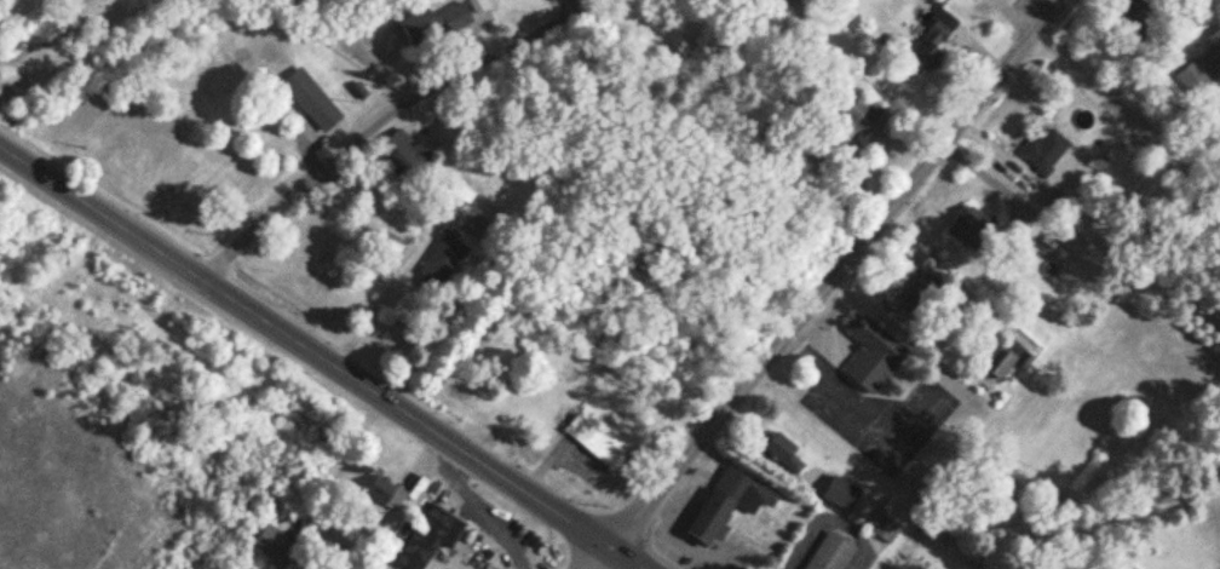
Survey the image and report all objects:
building: (804, 1)
road: (12, 10)
building: (928, 48)
building: (1202, 68)
building: (311, 100)
road: (1124, 113)
building: (848, 127)
road: (355, 144)
building: (1043, 151)
building: (405, 155)
building: (454, 200)
building: (967, 225)
building: (442, 260)
road: (839, 274)
building: (928, 282)
building: (874, 352)
road: (321, 357)
building: (999, 363)
road: (865, 404)
parking lot: (879, 414)
building: (603, 439)
building: (784, 454)
building: (385, 494)
building: (841, 494)
building: (726, 506)
building: (886, 529)
building: (431, 538)
building: (272, 547)
building: (831, 553)
road: (602, 559)

